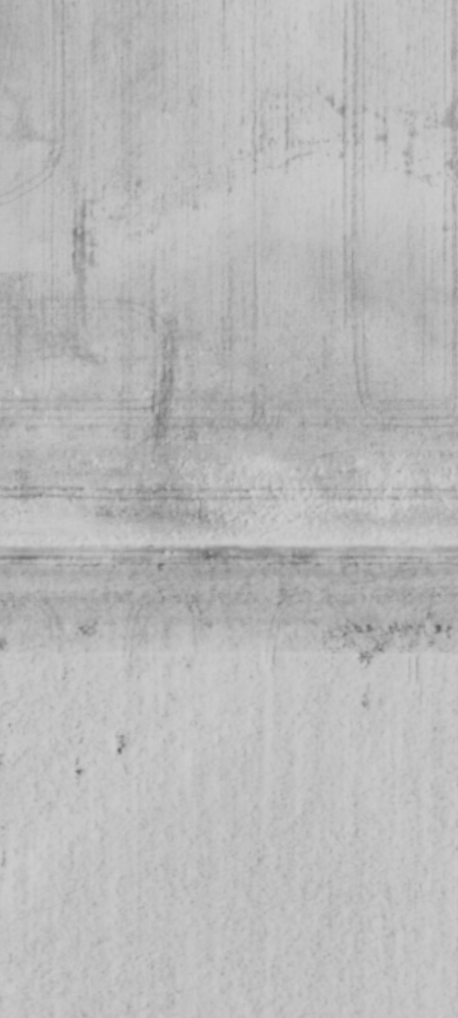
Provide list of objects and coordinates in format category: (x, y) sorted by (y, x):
road: (229, 550)

